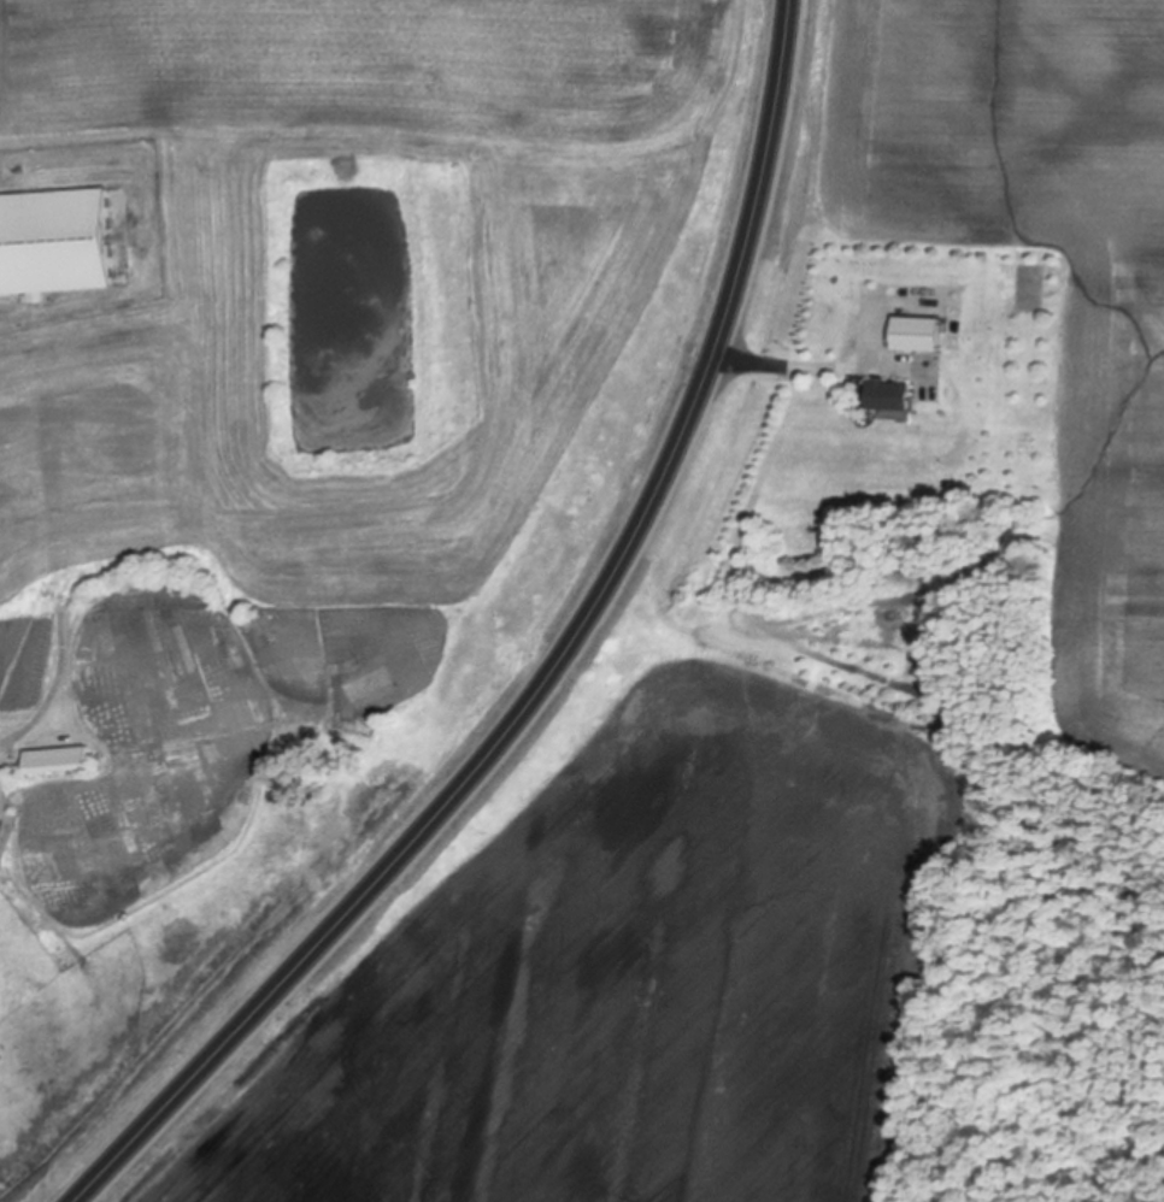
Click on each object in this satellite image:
building: (55, 246)
building: (922, 336)
road: (816, 367)
building: (892, 397)
road: (549, 667)
building: (58, 762)

